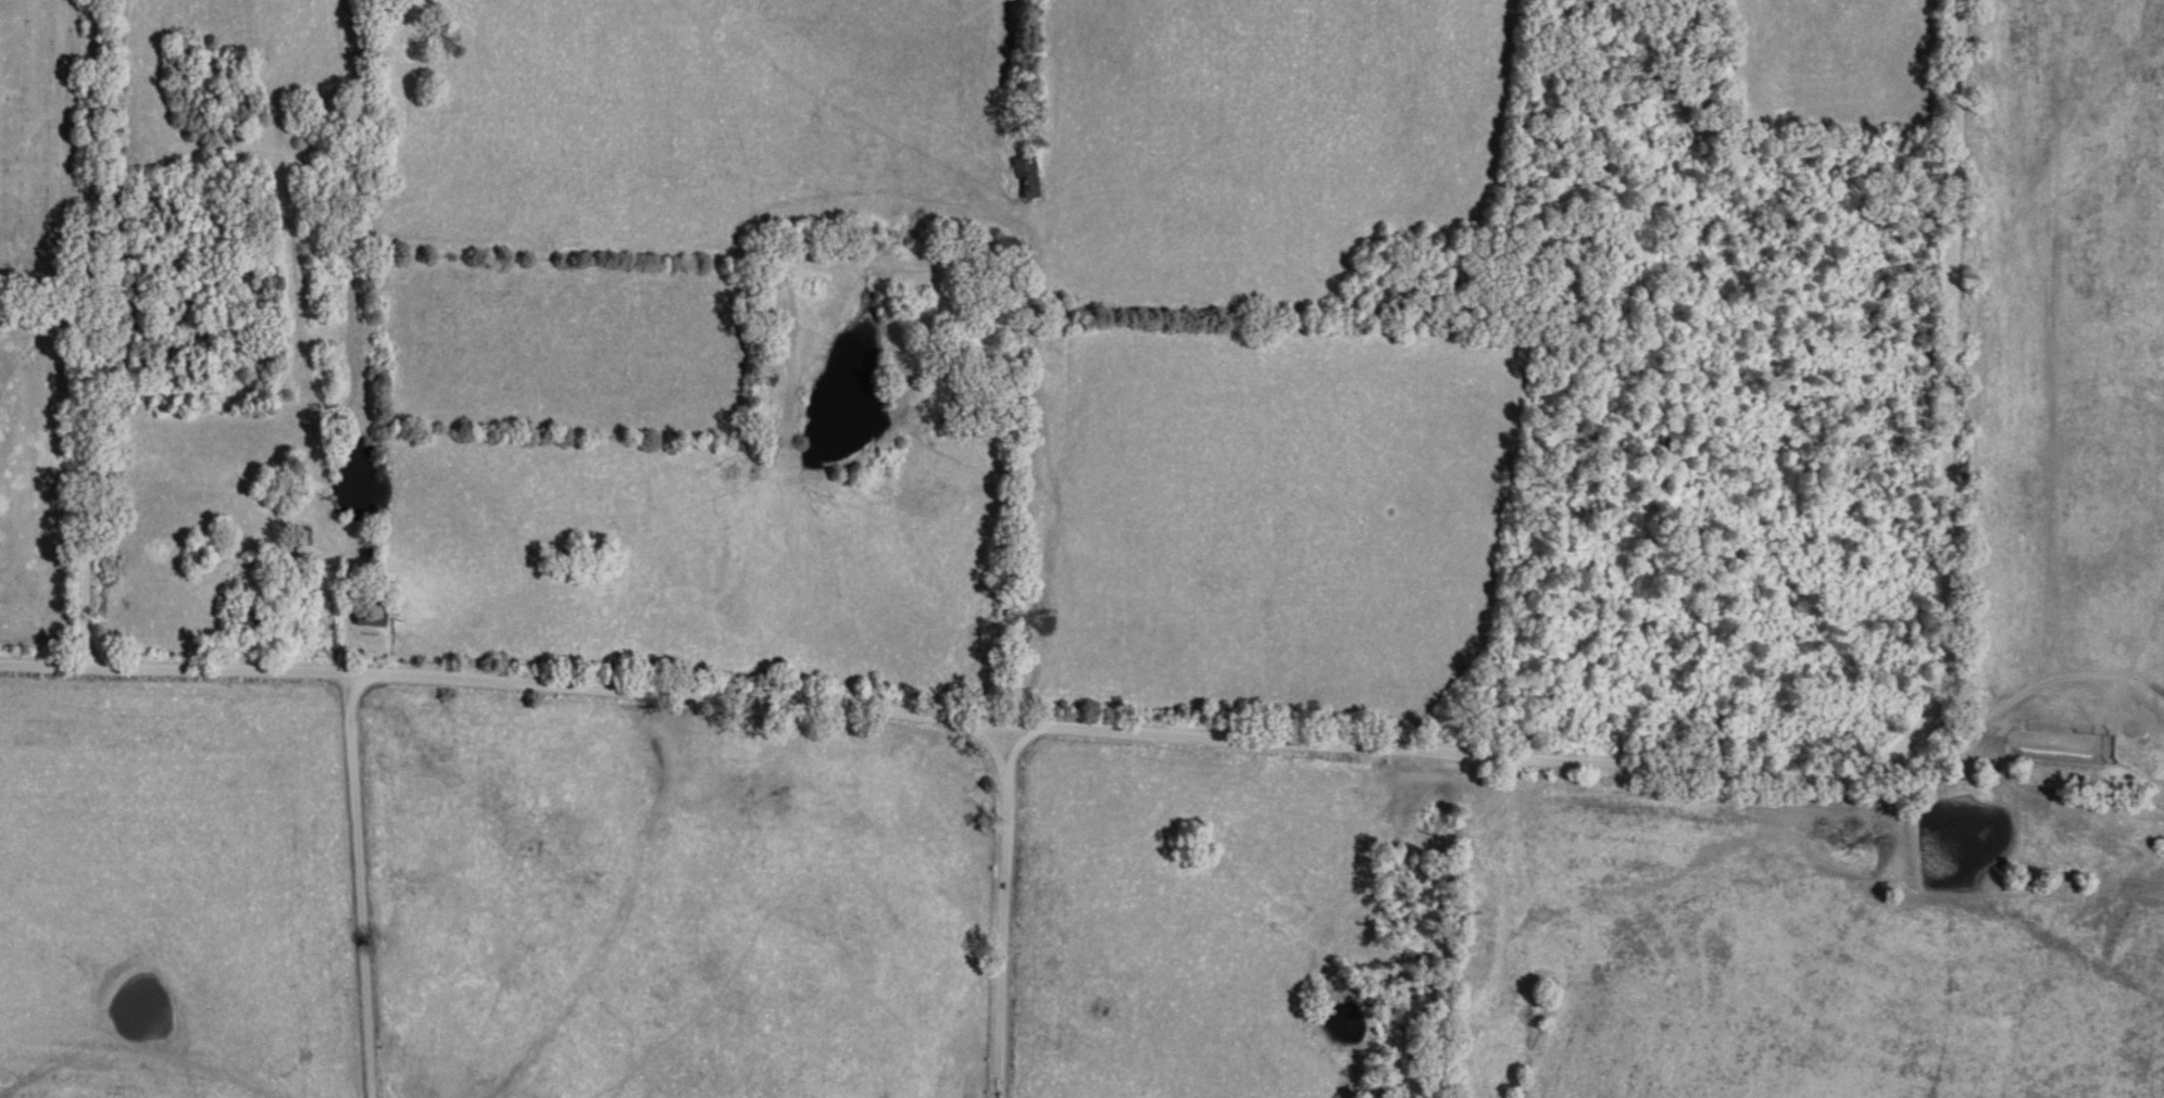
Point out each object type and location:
road: (61, 325)
road: (1339, 737)
road: (368, 888)
road: (1020, 910)

